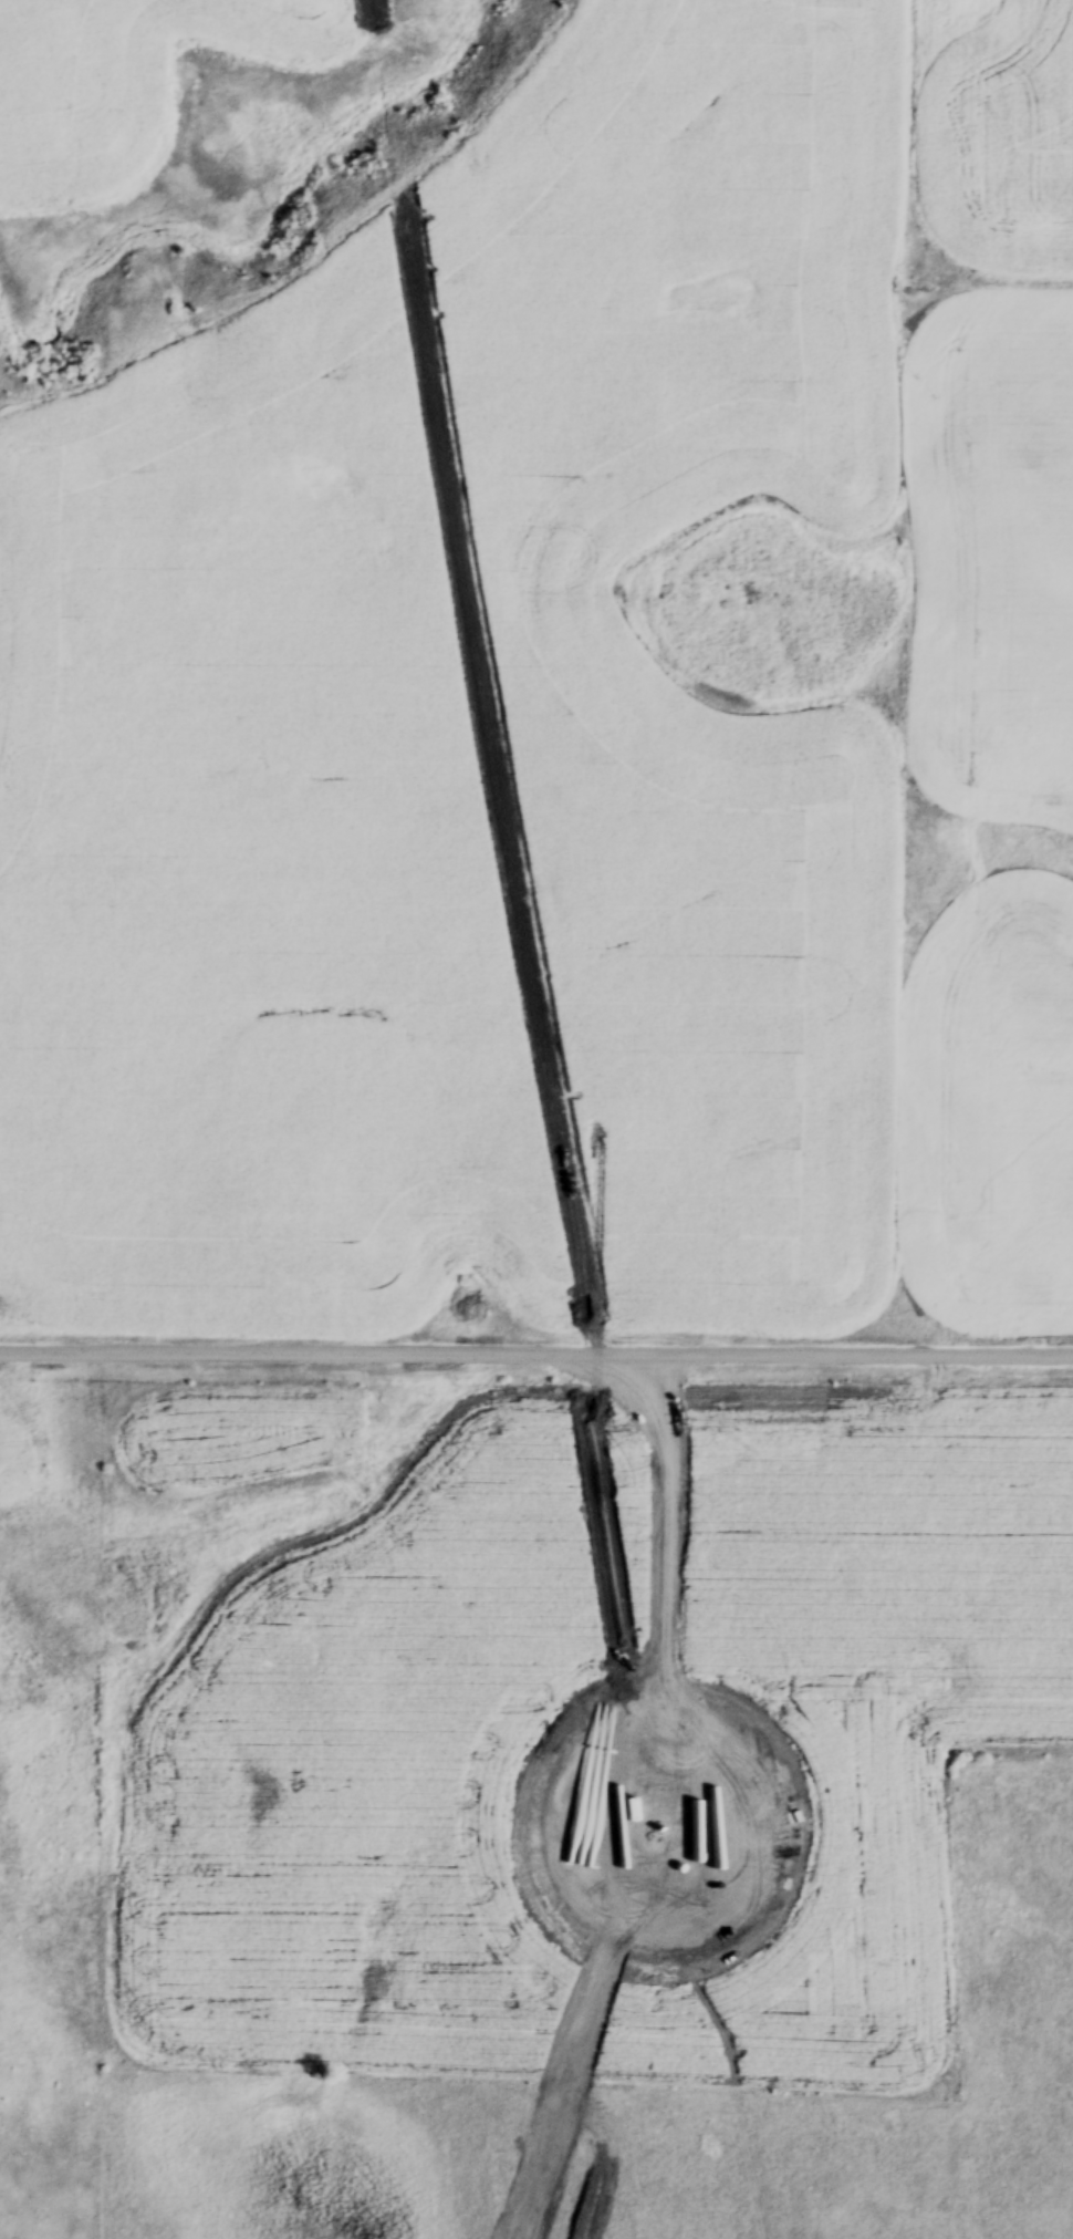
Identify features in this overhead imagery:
road: (536, 1352)
wind turbine: (676, 1831)

